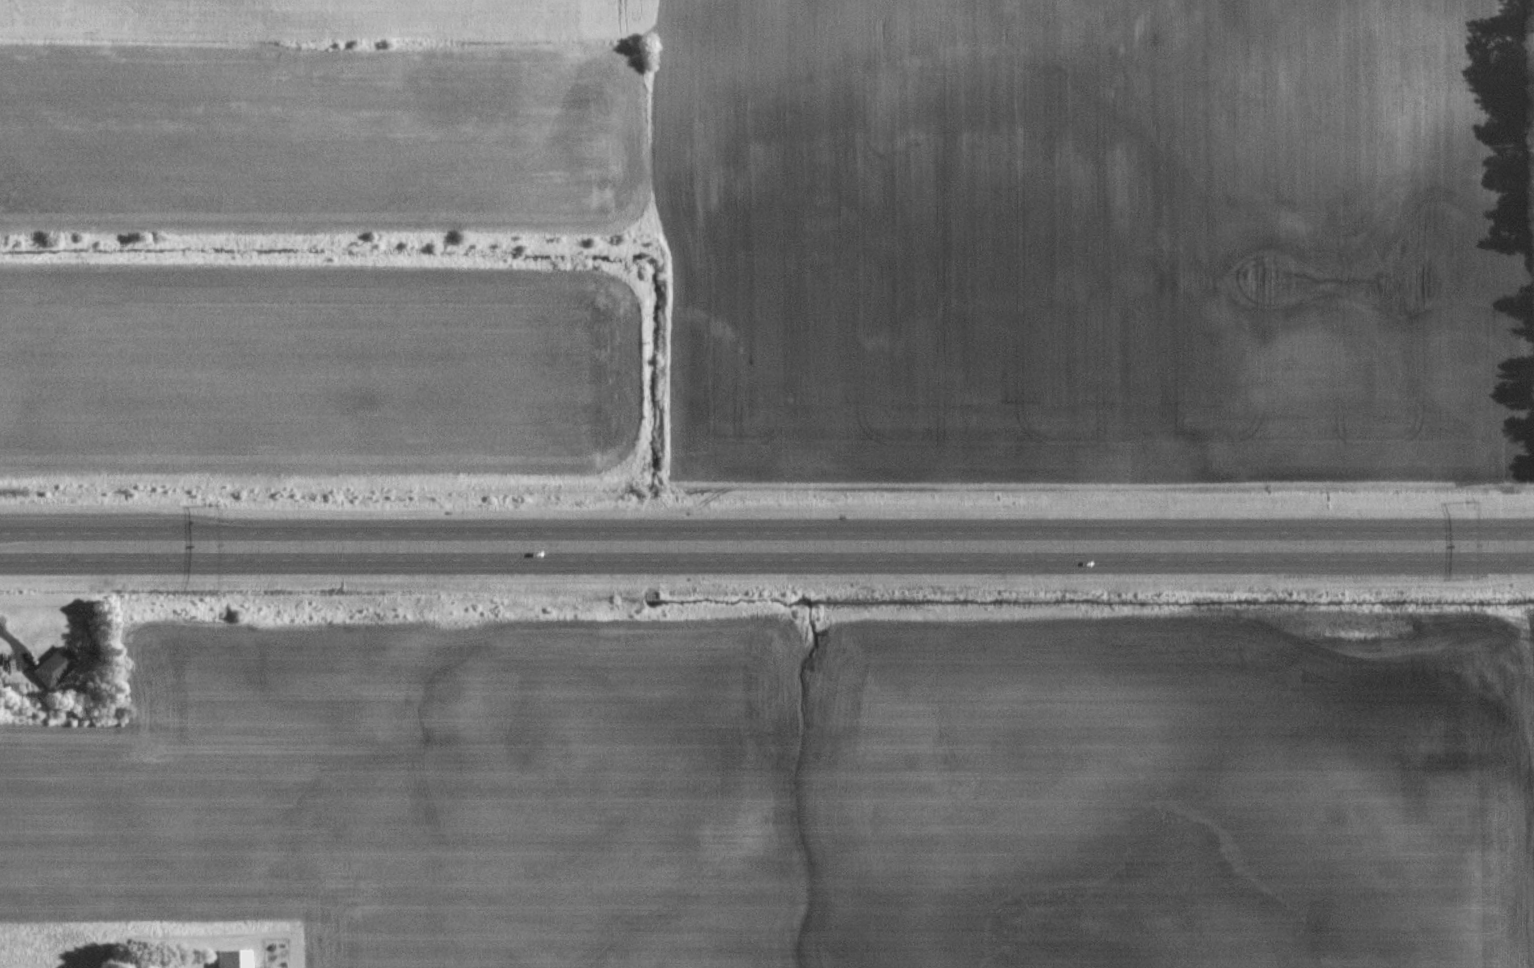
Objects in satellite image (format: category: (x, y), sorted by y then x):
road: (767, 545)
building: (55, 666)
building: (231, 959)

